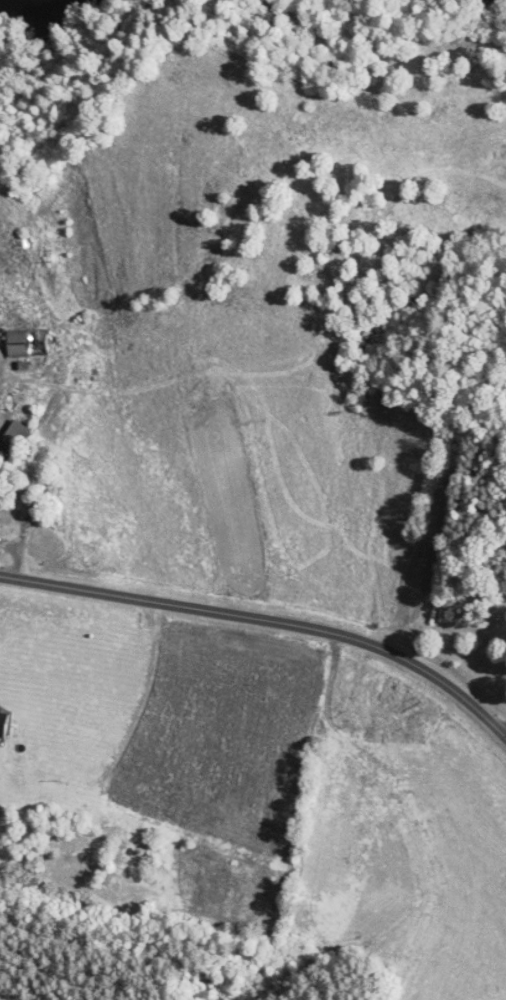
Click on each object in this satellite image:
river: (16, 6)
river: (2, 12)
building: (16, 243)
building: (22, 342)
building: (11, 435)
road: (21, 528)
road: (268, 620)

